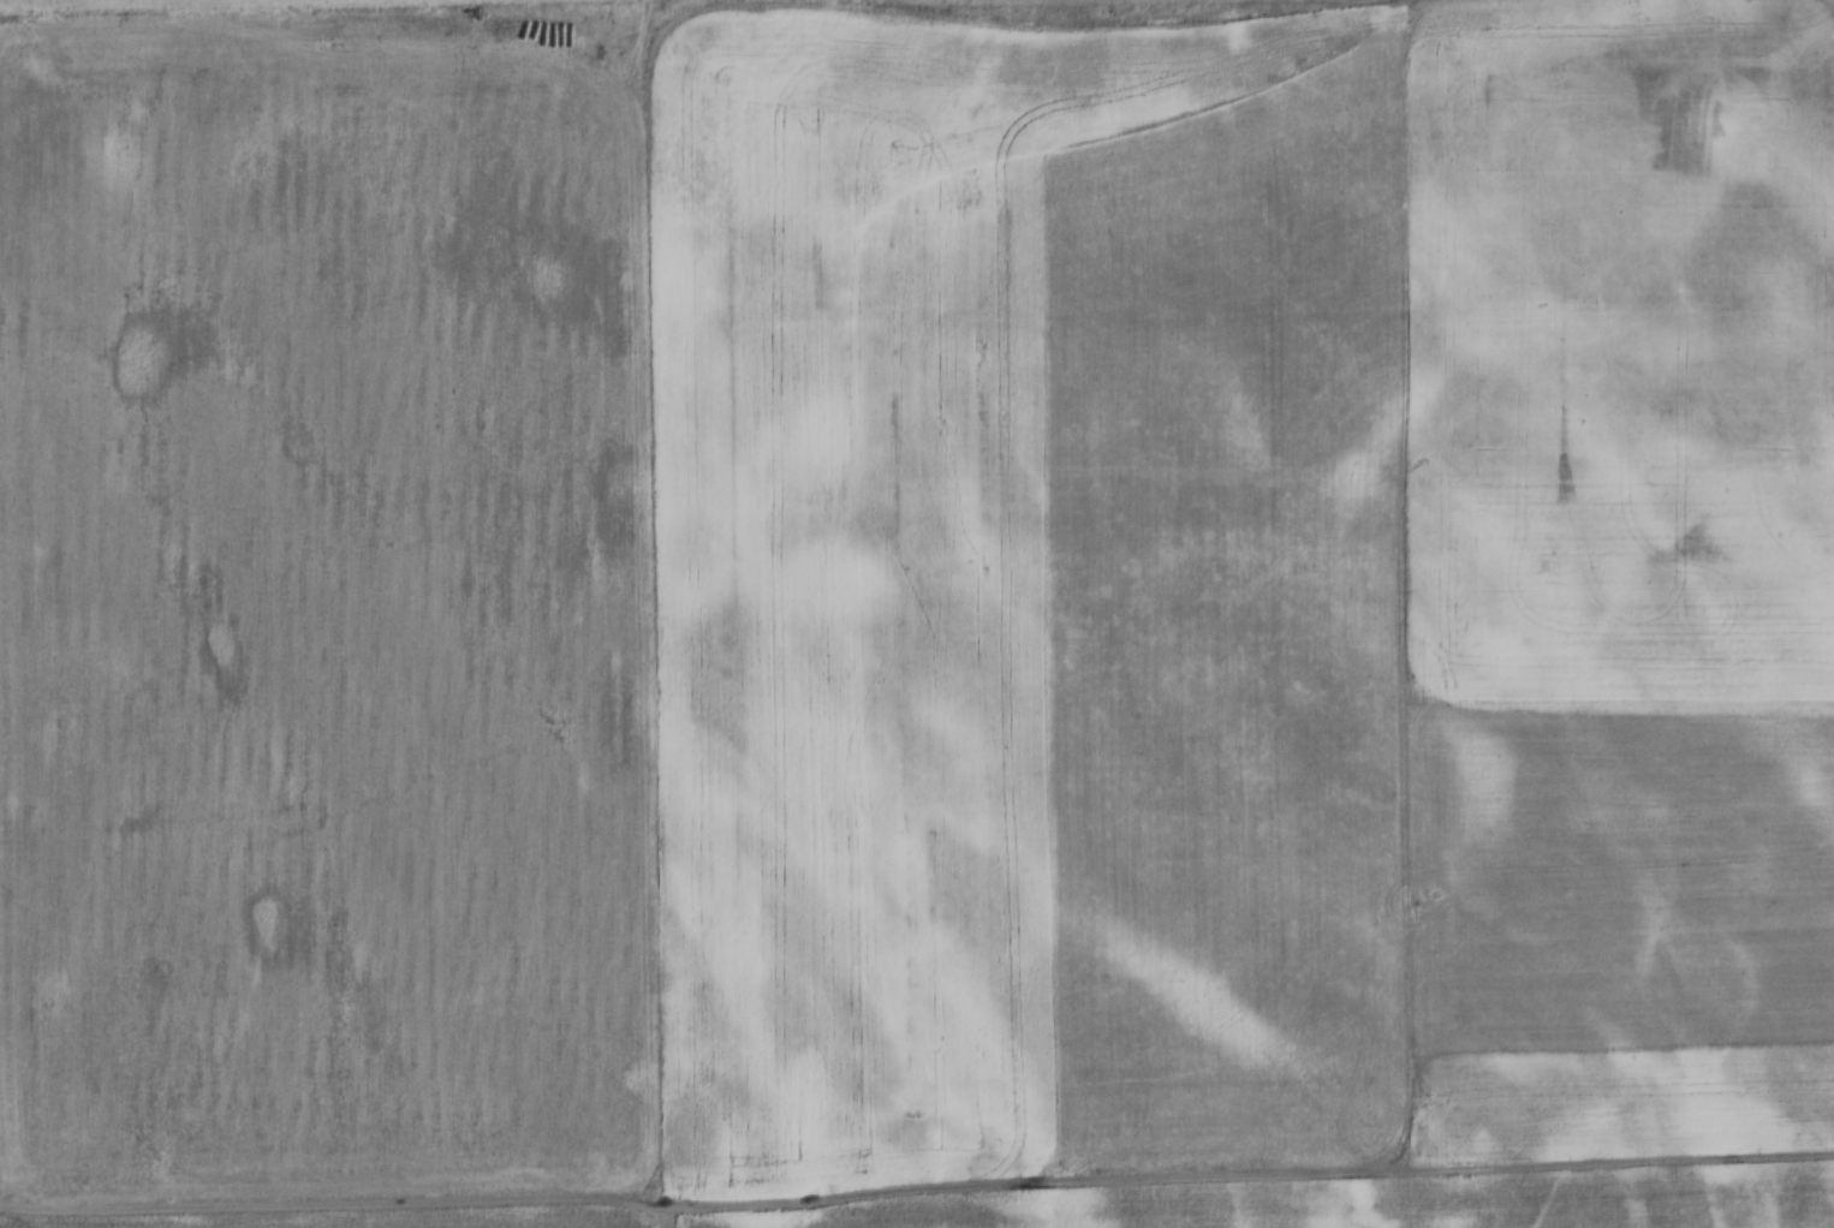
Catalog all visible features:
road: (916, 1184)

